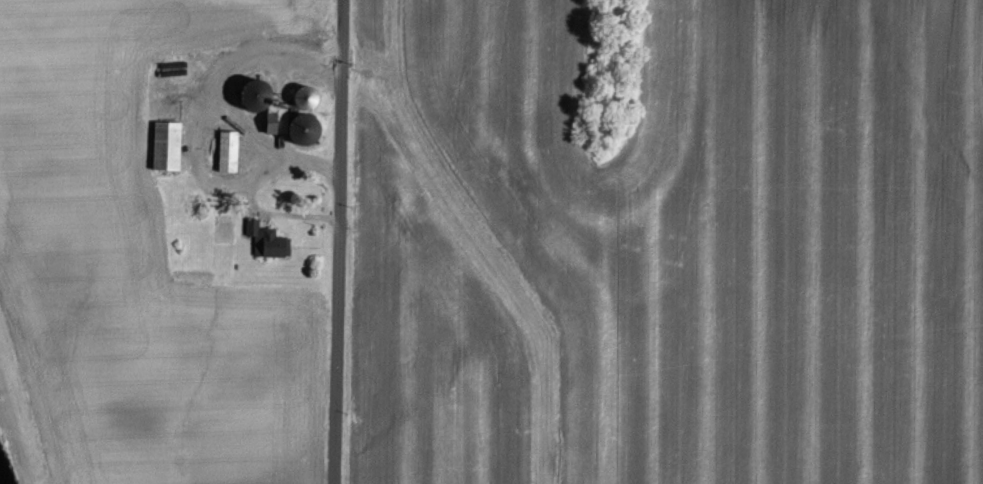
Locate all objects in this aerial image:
building: (307, 96)
building: (281, 114)
road: (253, 132)
road: (194, 138)
building: (168, 145)
building: (229, 151)
road: (301, 158)
building: (268, 240)
road: (341, 242)

